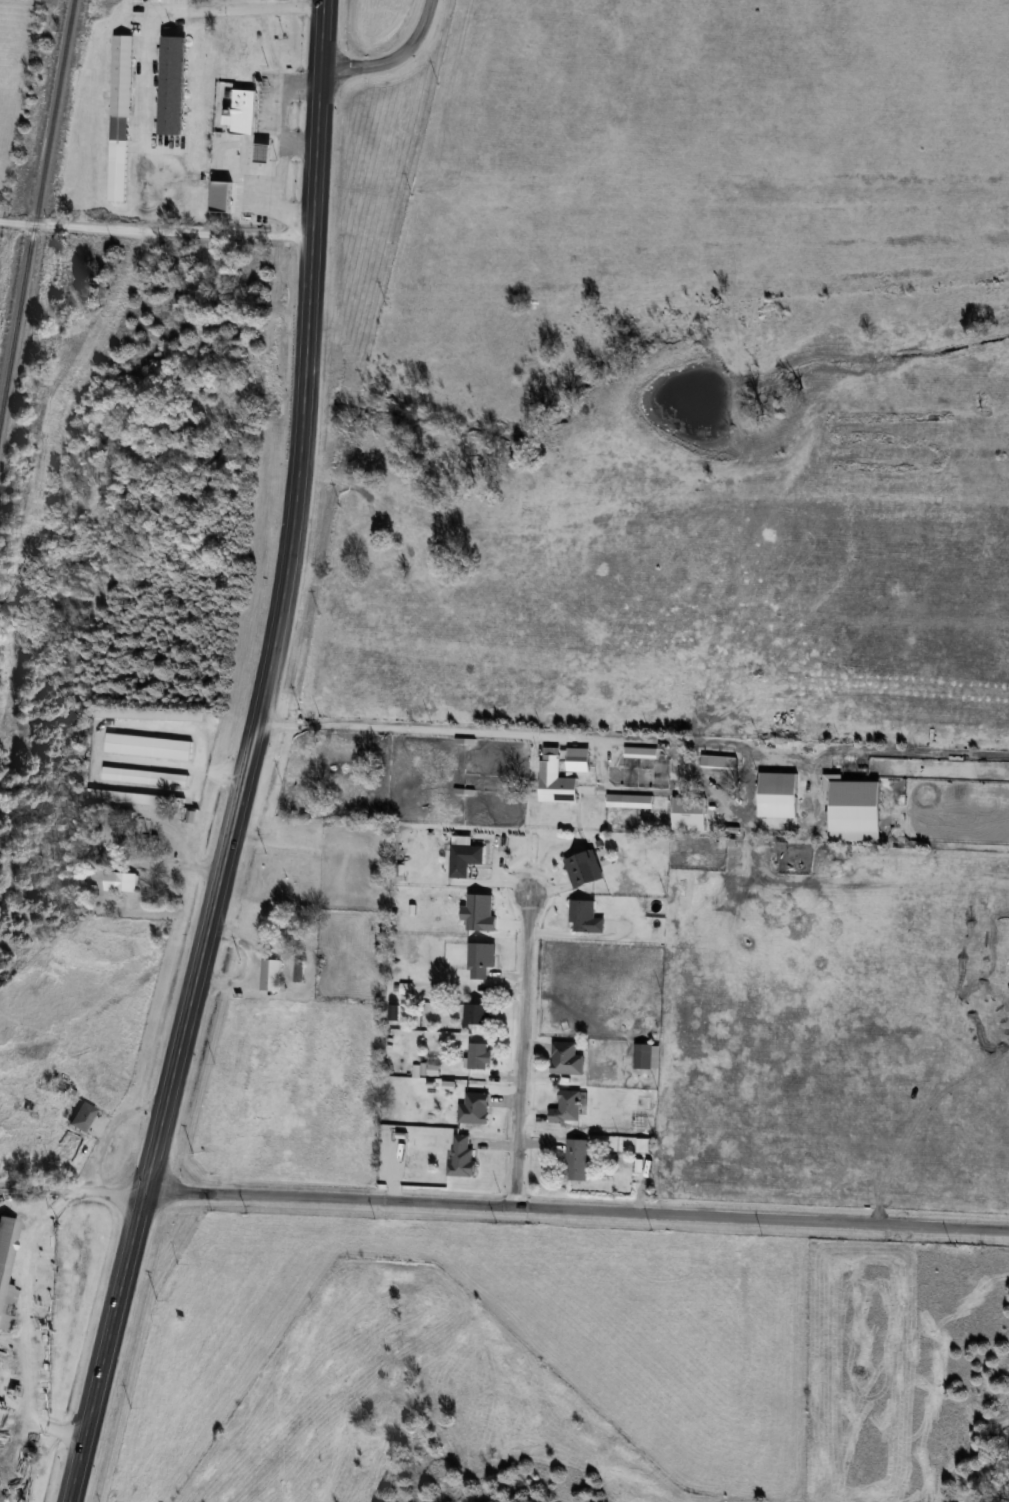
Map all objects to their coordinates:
road: (182, 8)
road: (325, 31)
road: (389, 54)
parking lot: (147, 74)
building: (169, 78)
building: (240, 105)
building: (116, 111)
road: (300, 143)
road: (278, 148)
parking lot: (258, 149)
railway: (34, 196)
road: (157, 228)
building: (145, 708)
building: (148, 713)
road: (646, 737)
building: (144, 740)
building: (635, 746)
building: (573, 754)
building: (714, 756)
building: (141, 771)
building: (551, 776)
road: (586, 784)
road: (623, 786)
road: (238, 788)
building: (773, 788)
building: (130, 792)
building: (625, 796)
building: (851, 804)
building: (686, 808)
building: (458, 853)
road: (492, 854)
building: (578, 862)
road: (484, 877)
building: (121, 881)
road: (544, 886)
building: (580, 911)
road: (580, 933)
building: (475, 952)
road: (244, 961)
building: (265, 968)
road: (501, 971)
building: (400, 984)
road: (464, 988)
building: (471, 1007)
road: (530, 1044)
road: (515, 1046)
building: (473, 1049)
building: (642, 1050)
building: (561, 1053)
road: (497, 1073)
road: (499, 1096)
building: (638, 1097)
building: (468, 1102)
building: (560, 1102)
road: (527, 1112)
building: (84, 1116)
road: (106, 1123)
building: (396, 1130)
building: (637, 1140)
road: (488, 1141)
road: (535, 1142)
building: (644, 1144)
building: (455, 1153)
building: (571, 1154)
building: (633, 1160)
road: (70, 1186)
road: (575, 1206)
building: (4, 1230)
road: (20, 1323)

